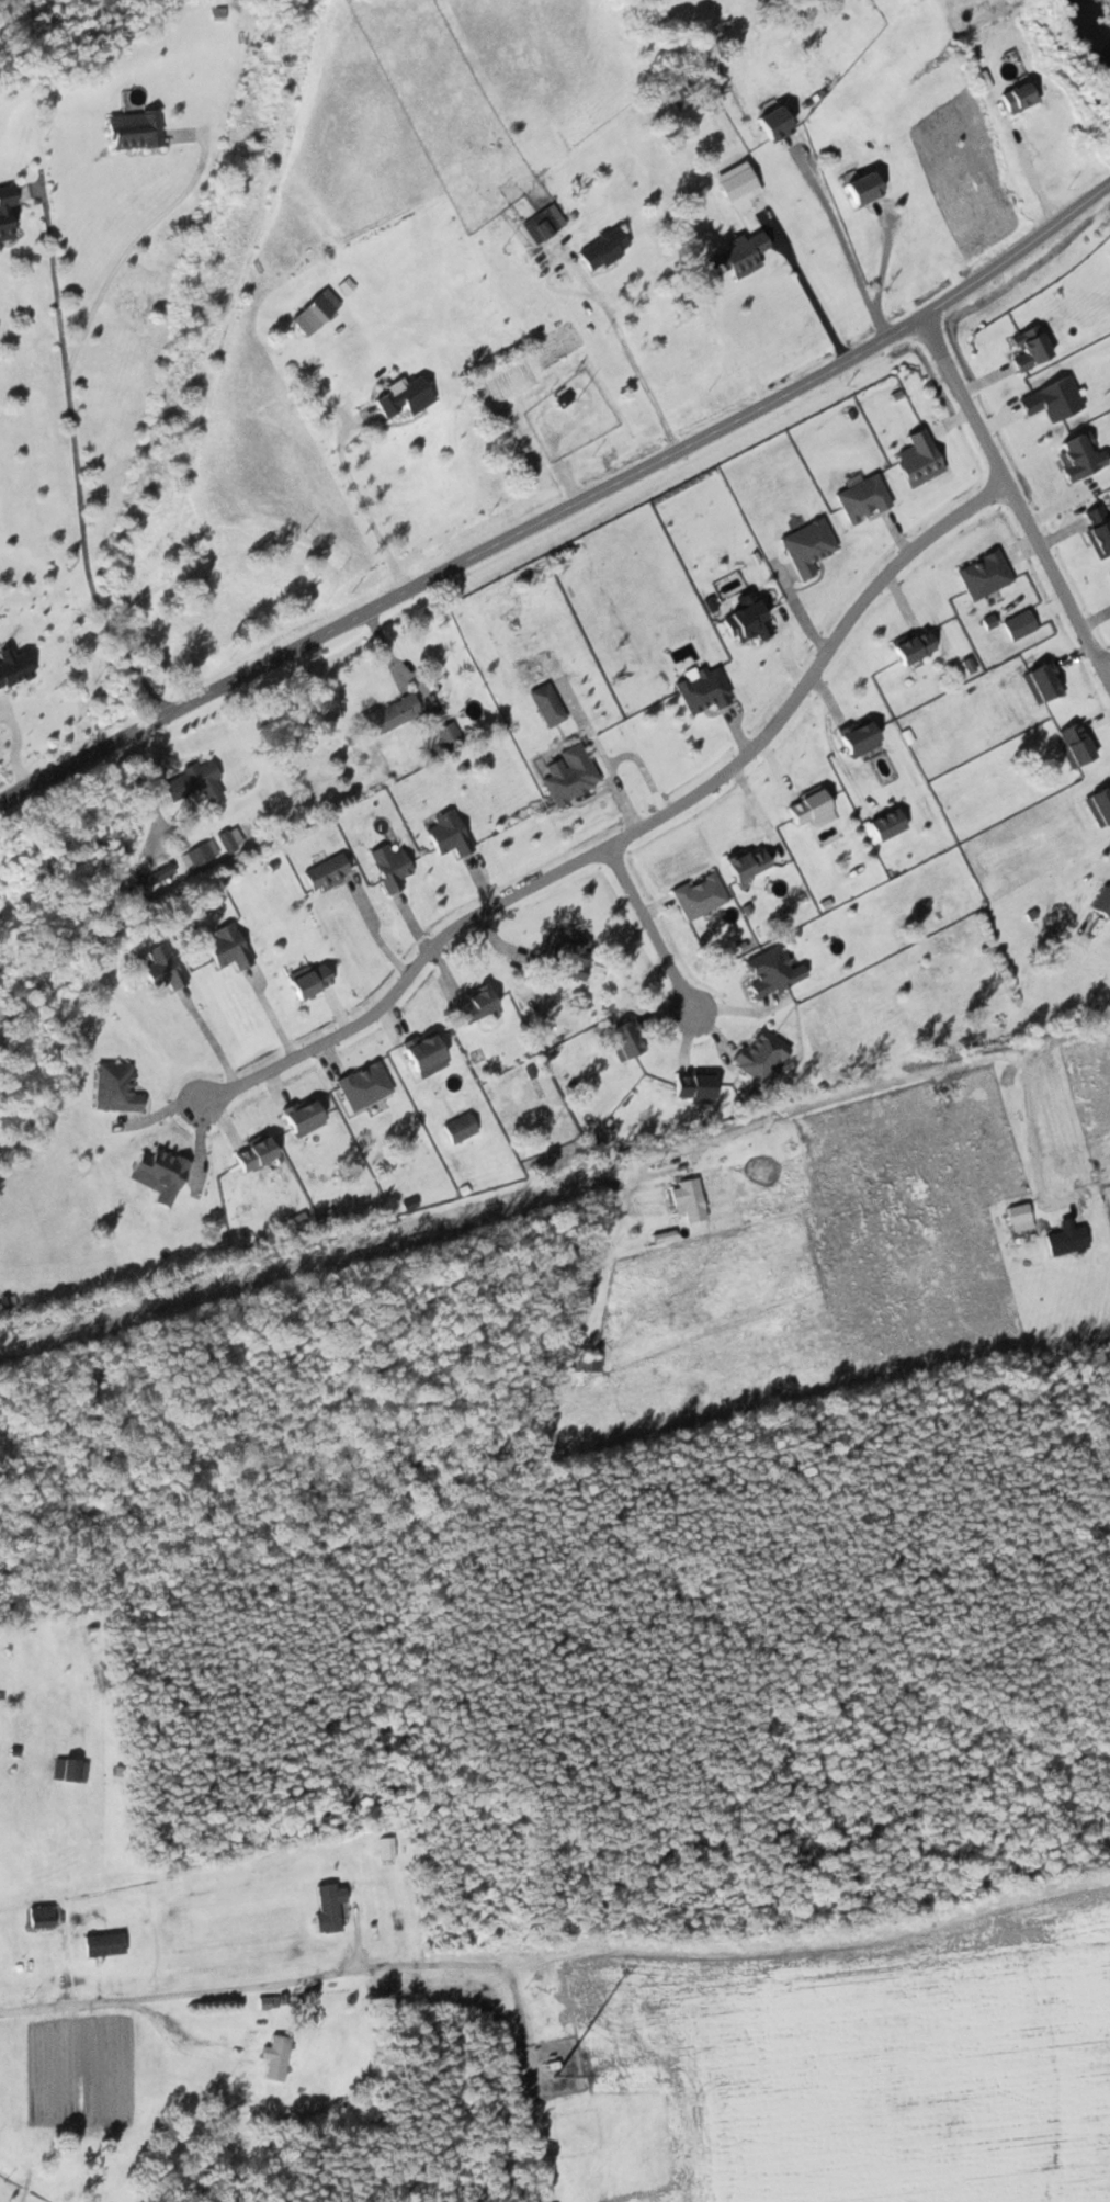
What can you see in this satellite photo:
river: (1095, 30)
building: (1019, 98)
building: (773, 123)
building: (134, 129)
building: (862, 188)
building: (7, 212)
building: (544, 223)
building: (603, 248)
building: (738, 257)
building: (316, 310)
building: (403, 396)
building: (919, 459)
building: (862, 498)
road: (1017, 498)
road: (567, 510)
building: (1098, 531)
building: (807, 546)
building: (984, 574)
building: (755, 624)
building: (913, 645)
road: (1107, 665)
building: (1042, 681)
building: (703, 690)
building: (547, 704)
building: (390, 713)
building: (449, 735)
building: (859, 738)
building: (1074, 744)
building: (567, 773)
building: (1099, 805)
building: (807, 808)
road: (636, 831)
building: (448, 833)
building: (230, 838)
building: (200, 854)
building: (746, 862)
building: (389, 865)
building: (326, 872)
building: (155, 878)
building: (699, 895)
building: (1101, 902)
road: (655, 930)
building: (226, 947)
building: (568, 957)
building: (160, 968)
building: (772, 971)
building: (308, 979)
building: (474, 1006)
building: (622, 1040)
building: (421, 1052)
building: (760, 1055)
building: (363, 1085)
building: (115, 1087)
building: (693, 1087)
building: (302, 1118)
building: (460, 1128)
building: (252, 1152)
building: (158, 1174)
building: (689, 1199)
building: (1066, 1240)
building: (587, 1364)
building: (67, 1770)
building: (387, 1850)
building: (329, 1905)
building: (41, 1915)
building: (104, 1942)
road: (288, 1983)
building: (276, 2057)

